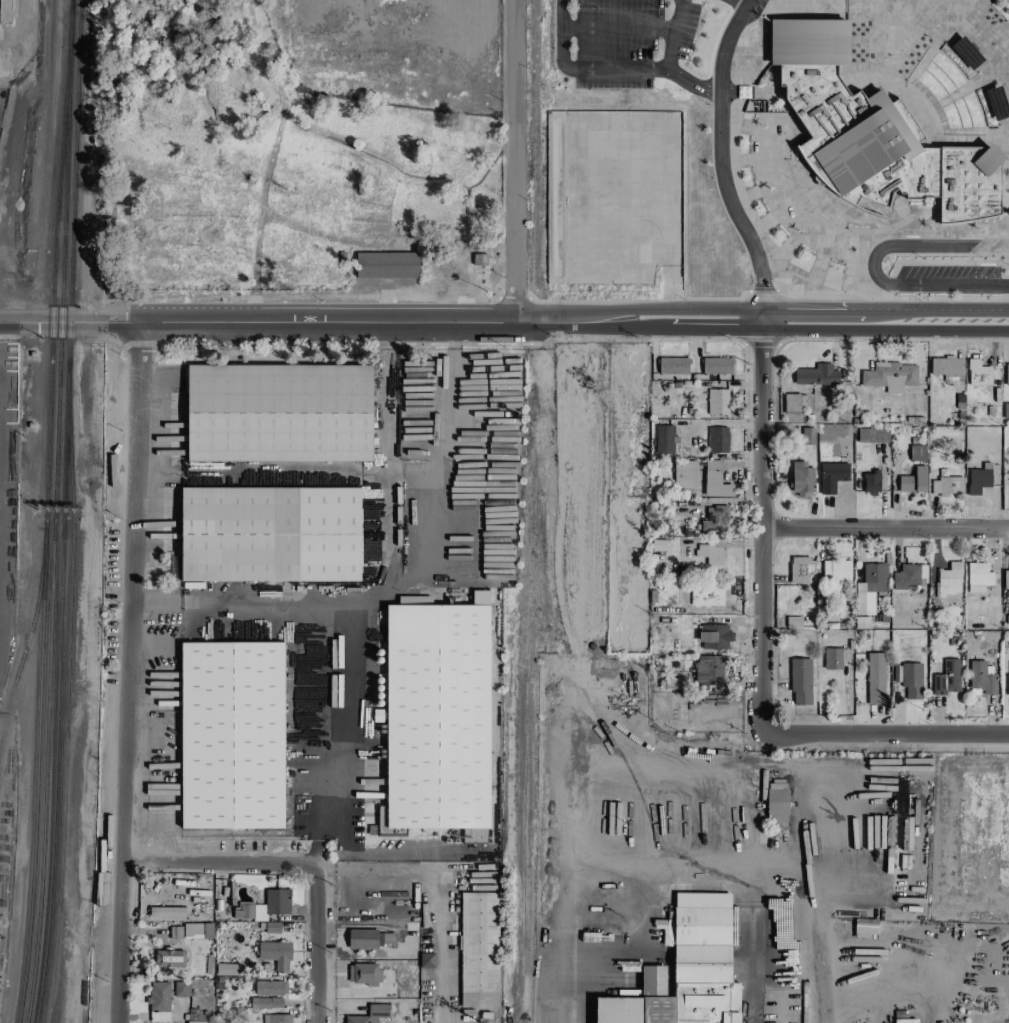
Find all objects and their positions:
road: (738, 4)
road: (674, 22)
road: (669, 58)
road: (610, 70)
building: (872, 132)
railway: (532, 141)
road: (717, 156)
road: (511, 161)
railway: (73, 185)
road: (871, 263)
building: (386, 265)
road: (799, 311)
road: (6, 316)
road: (296, 323)
road: (799, 333)
road: (392, 335)
road: (453, 336)
railway: (52, 349)
railway: (61, 350)
building: (672, 366)
building: (716, 366)
building: (947, 368)
building: (978, 373)
building: (816, 375)
building: (1007, 375)
building: (890, 377)
building: (717, 401)
building: (792, 403)
building: (279, 413)
building: (872, 435)
building: (663, 439)
building: (717, 439)
building: (917, 453)
road: (546, 467)
building: (684, 475)
building: (831, 476)
building: (801, 480)
building: (715, 481)
building: (913, 481)
building: (978, 481)
building: (870, 483)
road: (445, 484)
building: (946, 486)
building: (715, 520)
road: (762, 524)
road: (886, 531)
building: (270, 534)
railway: (62, 536)
building: (711, 553)
building: (802, 571)
building: (836, 571)
building: (906, 577)
building: (978, 578)
building: (1006, 580)
building: (948, 581)
building: (869, 588)
building: (706, 596)
road: (370, 601)
road: (156, 604)
road: (272, 605)
building: (714, 637)
railway: (29, 646)
building: (832, 659)
building: (707, 669)
road: (128, 672)
building: (875, 678)
building: (947, 678)
building: (982, 678)
building: (1008, 678)
building: (911, 680)
building: (800, 682)
railway: (525, 689)
railway: (67, 697)
building: (436, 719)
building: (232, 735)
road: (887, 737)
building: (776, 802)
road: (315, 848)
road: (406, 855)
road: (217, 857)
railway: (34, 861)
railway: (42, 862)
railway: (49, 862)
road: (658, 878)
building: (276, 902)
building: (249, 912)
road: (819, 914)
building: (193, 931)
building: (362, 939)
road: (315, 941)
building: (478, 950)
building: (275, 955)
building: (168, 958)
building: (426, 960)
building: (686, 969)
building: (226, 970)
building: (363, 974)
road: (438, 982)
road: (887, 986)
building: (270, 988)
building: (180, 989)
building: (158, 1002)
building: (266, 1003)
building: (370, 1014)
building: (276, 1018)
building: (187, 1022)
building: (276, 1022)
building: (360, 1022)
building: (667, 1022)
building: (904, 1022)

